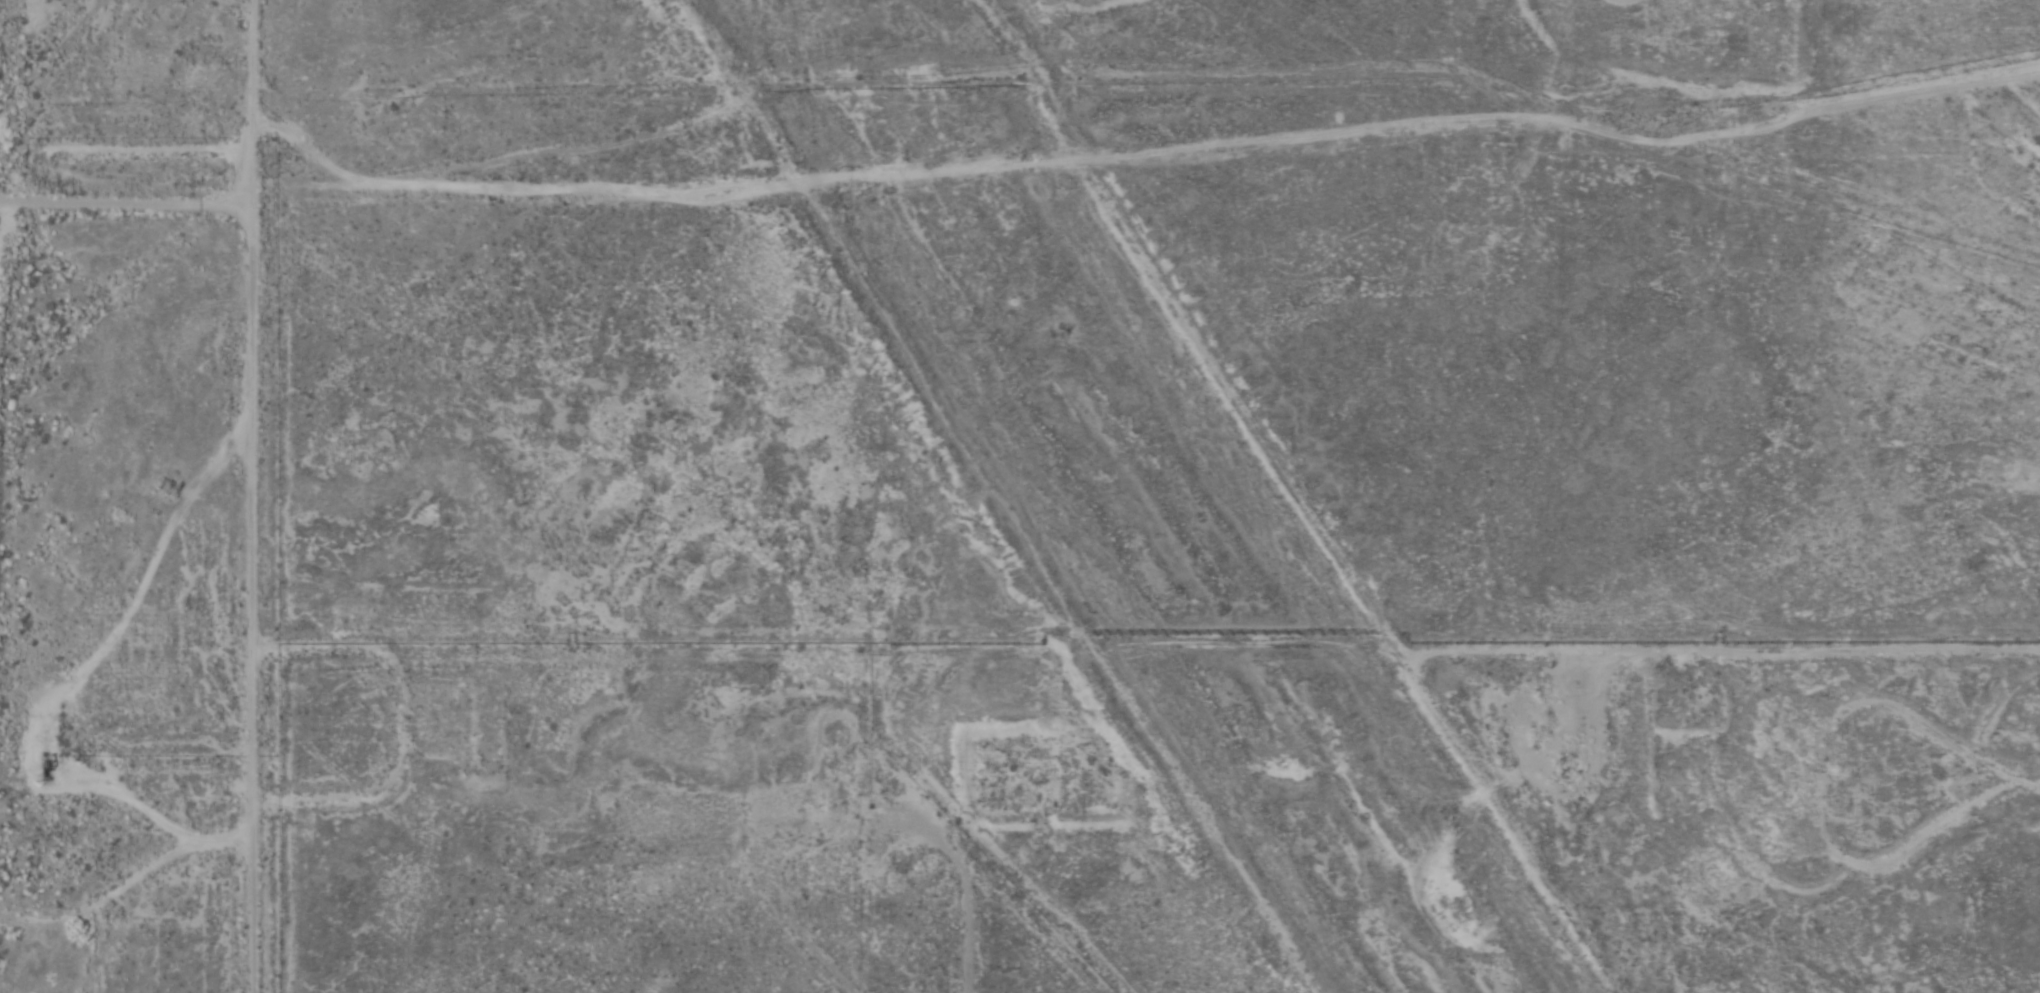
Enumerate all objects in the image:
road: (1708, 206)
road: (1418, 209)
road: (365, 214)
road: (1177, 265)
road: (251, 497)
road: (1011, 616)
road: (394, 785)
road: (2020, 831)
road: (1926, 871)
road: (157, 887)
road: (876, 914)
road: (136, 925)

